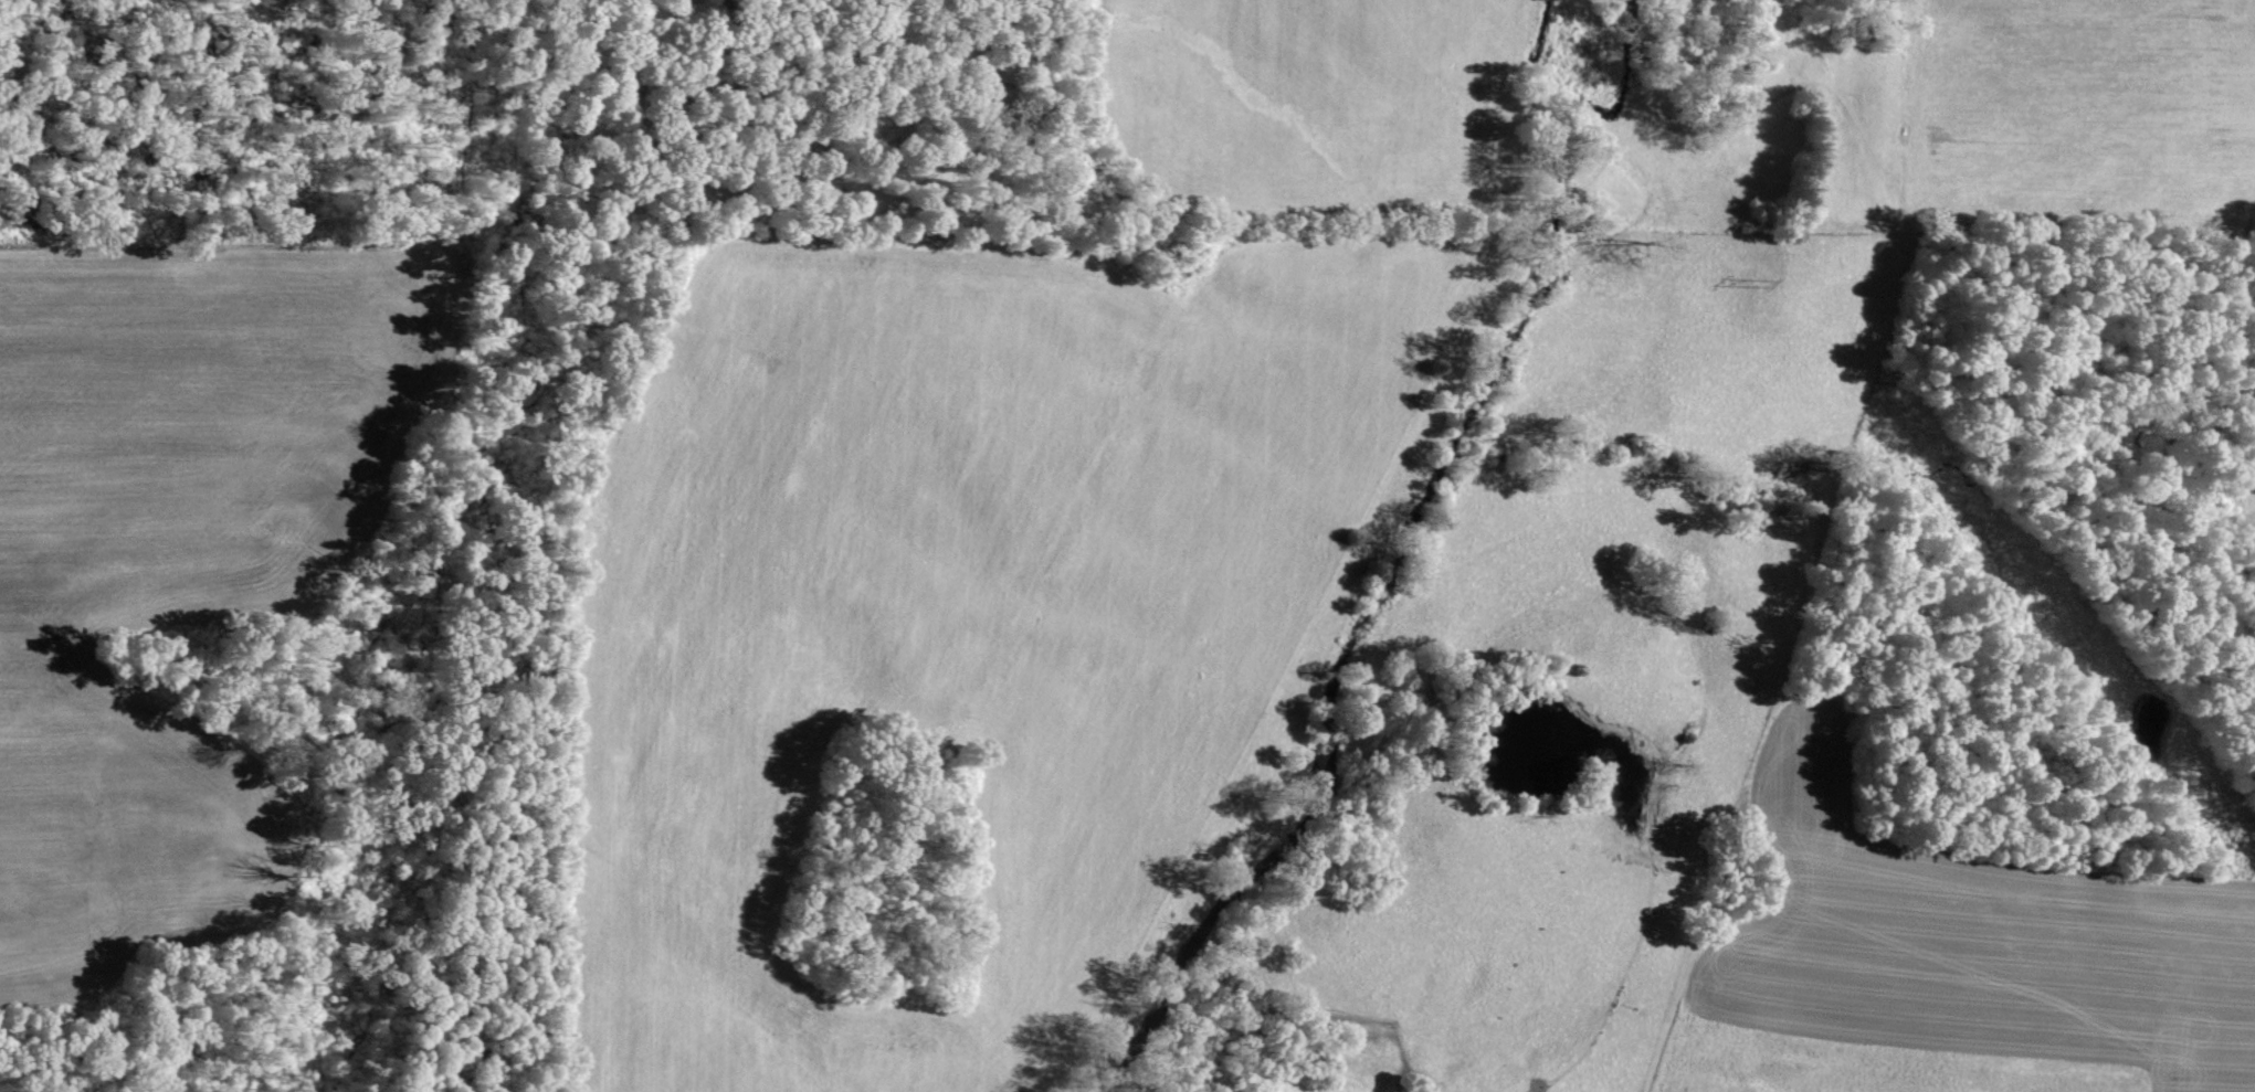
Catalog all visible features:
power tower: (1756, 285)

